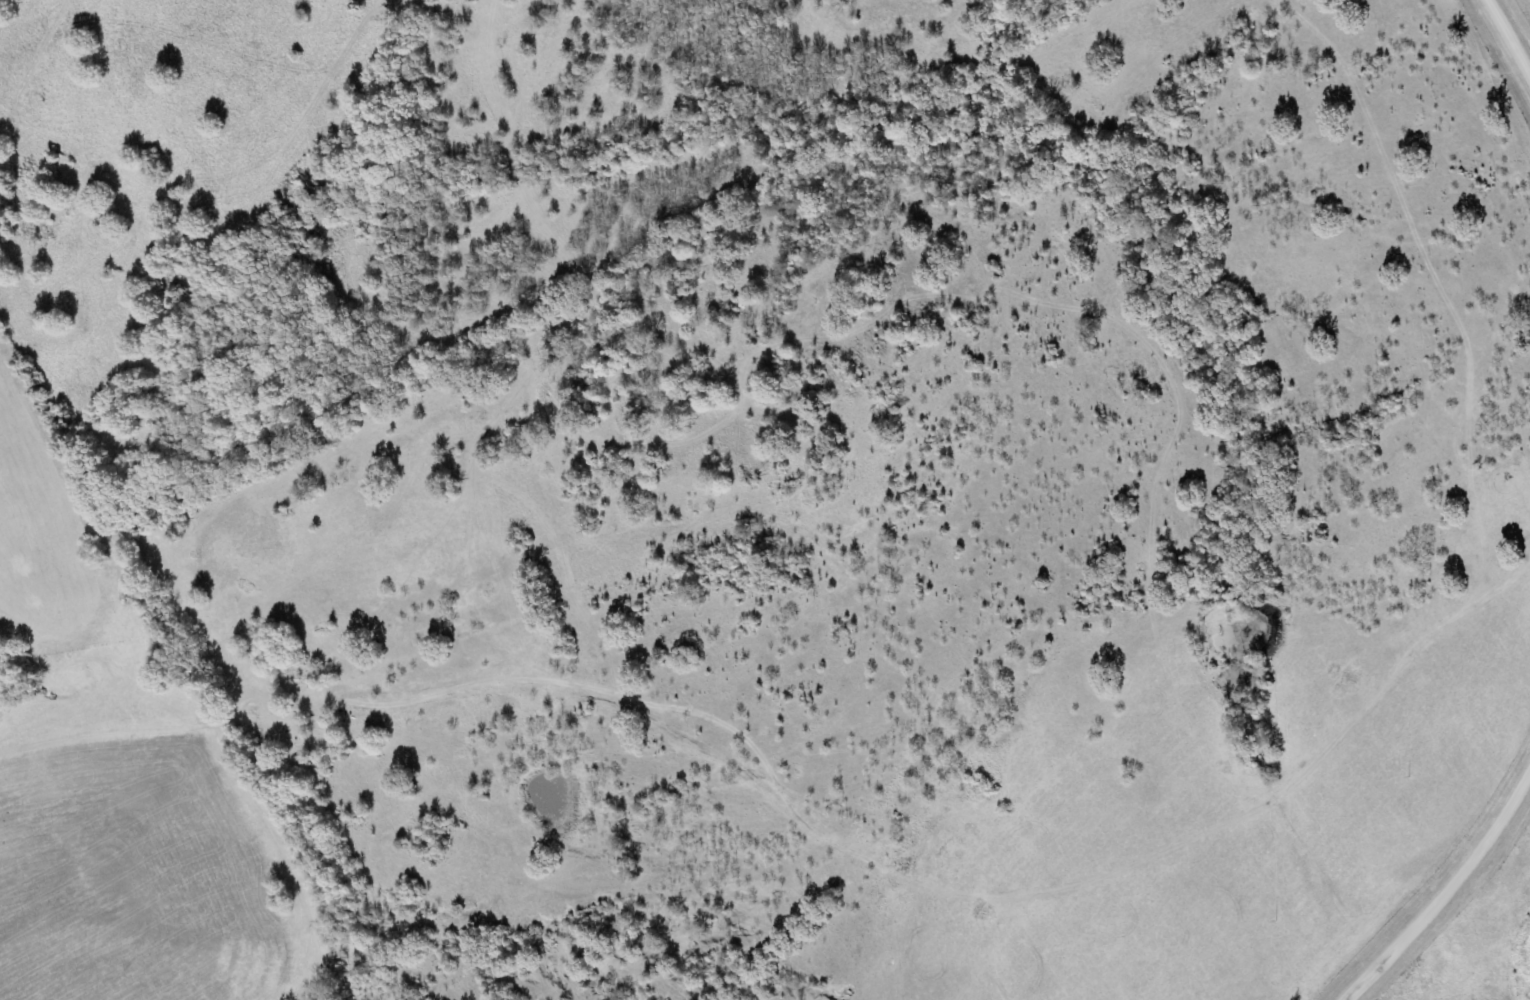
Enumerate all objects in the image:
road: (1507, 39)
road: (1447, 894)

